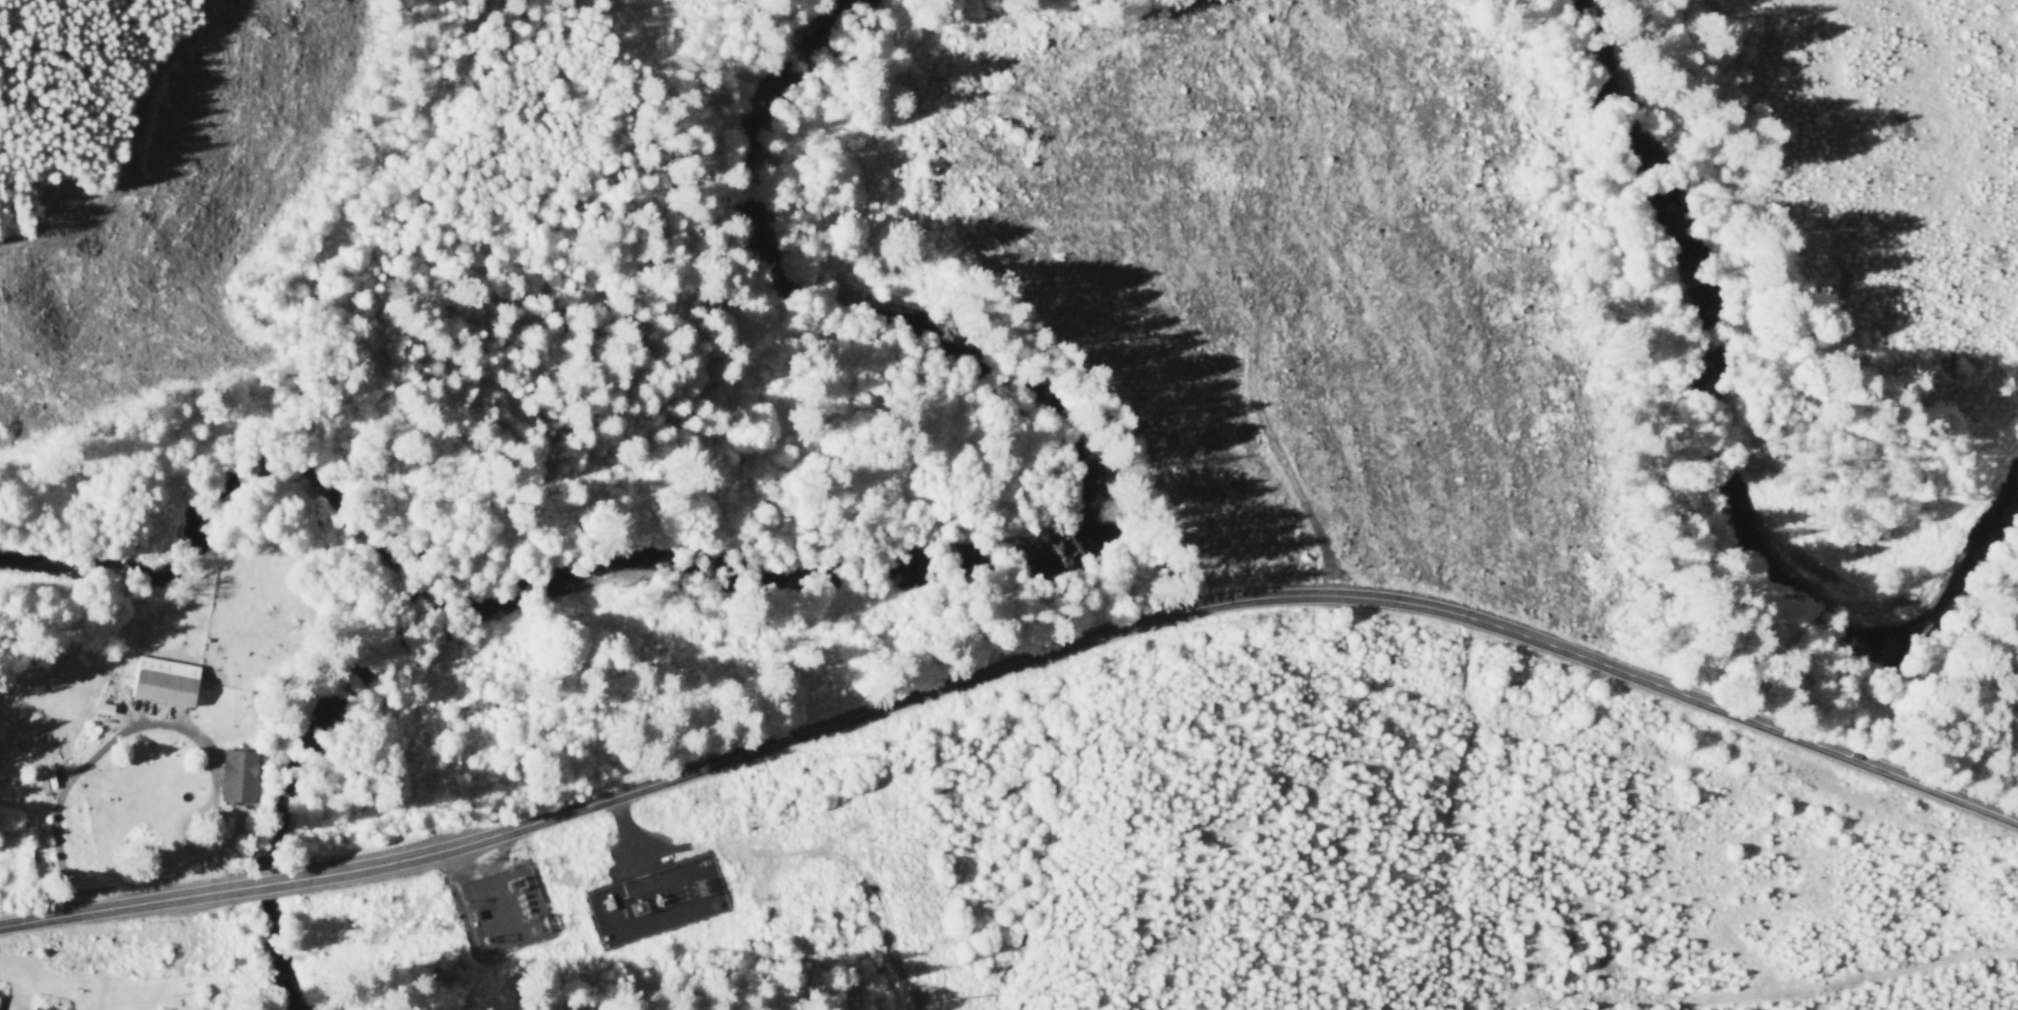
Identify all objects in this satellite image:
road: (138, 138)
river: (1743, 372)
river: (899, 553)
road: (1014, 662)
building: (168, 681)
road: (99, 748)
building: (241, 775)
road: (494, 883)
power substation: (657, 901)
power substation: (503, 906)
road: (626, 929)
road: (1806, 990)
building: (0, 996)
building: (42, 1008)

